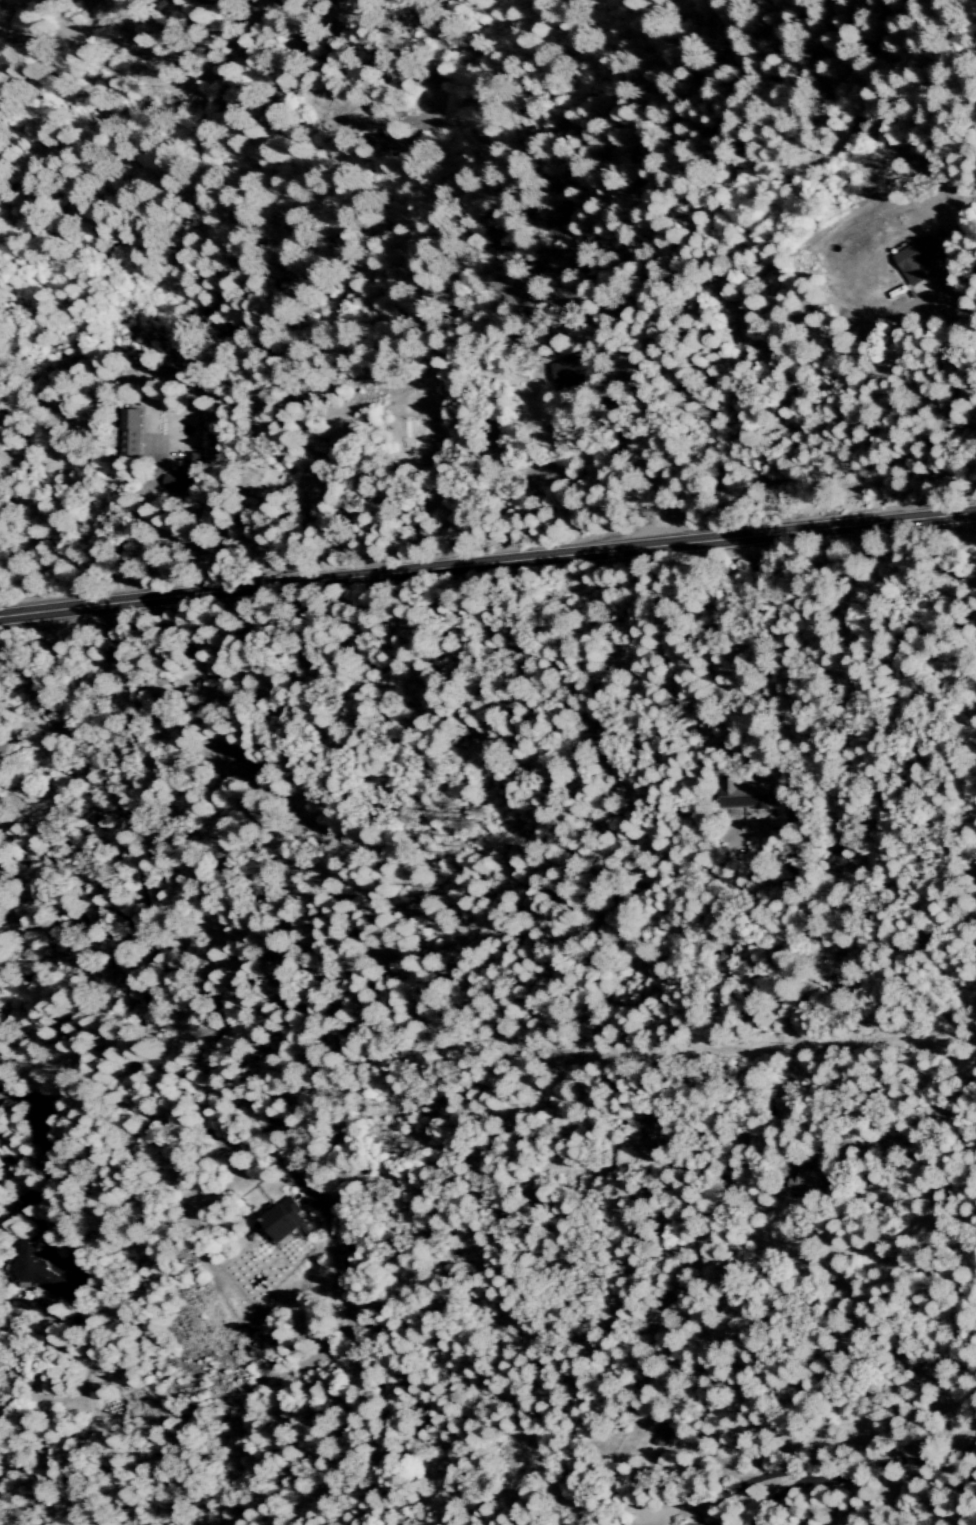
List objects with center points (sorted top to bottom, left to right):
building: (909, 260)
building: (576, 372)
road: (956, 401)
road: (645, 474)
building: (186, 475)
road: (123, 517)
road: (487, 562)
road: (549, 586)
road: (158, 704)
road: (973, 784)
road: (52, 1162)
building: (286, 1219)
building: (36, 1270)
road: (920, 1467)

